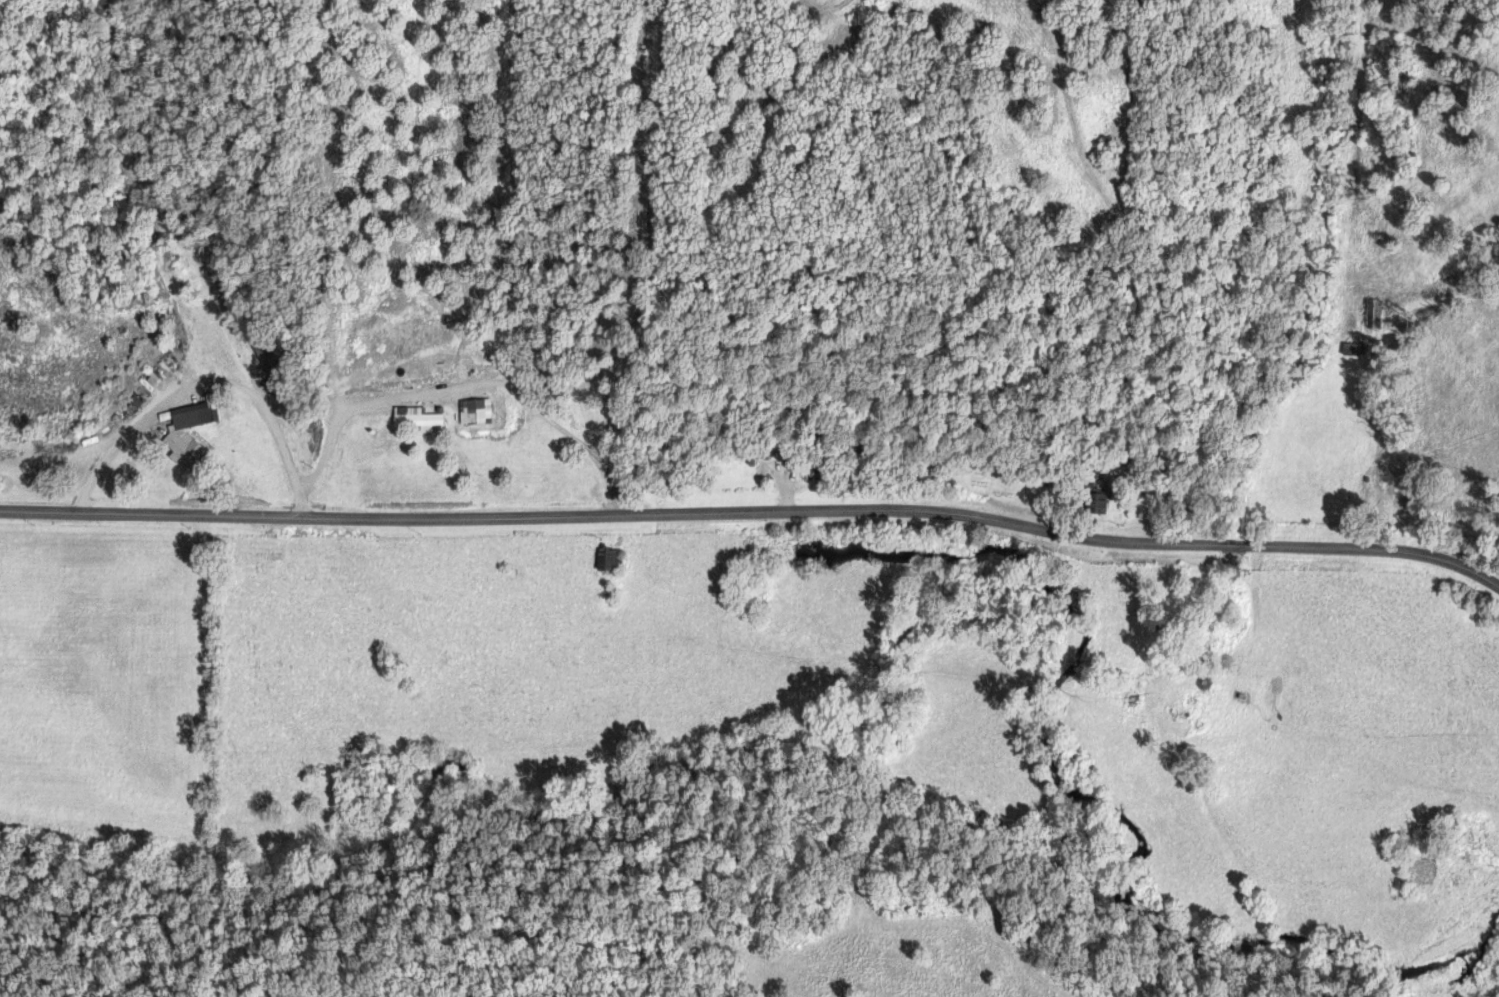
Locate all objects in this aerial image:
building: (1371, 313)
building: (1351, 348)
road: (189, 385)
road: (449, 396)
building: (473, 411)
building: (415, 418)
building: (185, 432)
road: (1347, 461)
road: (852, 473)
road: (754, 507)
building: (610, 559)

